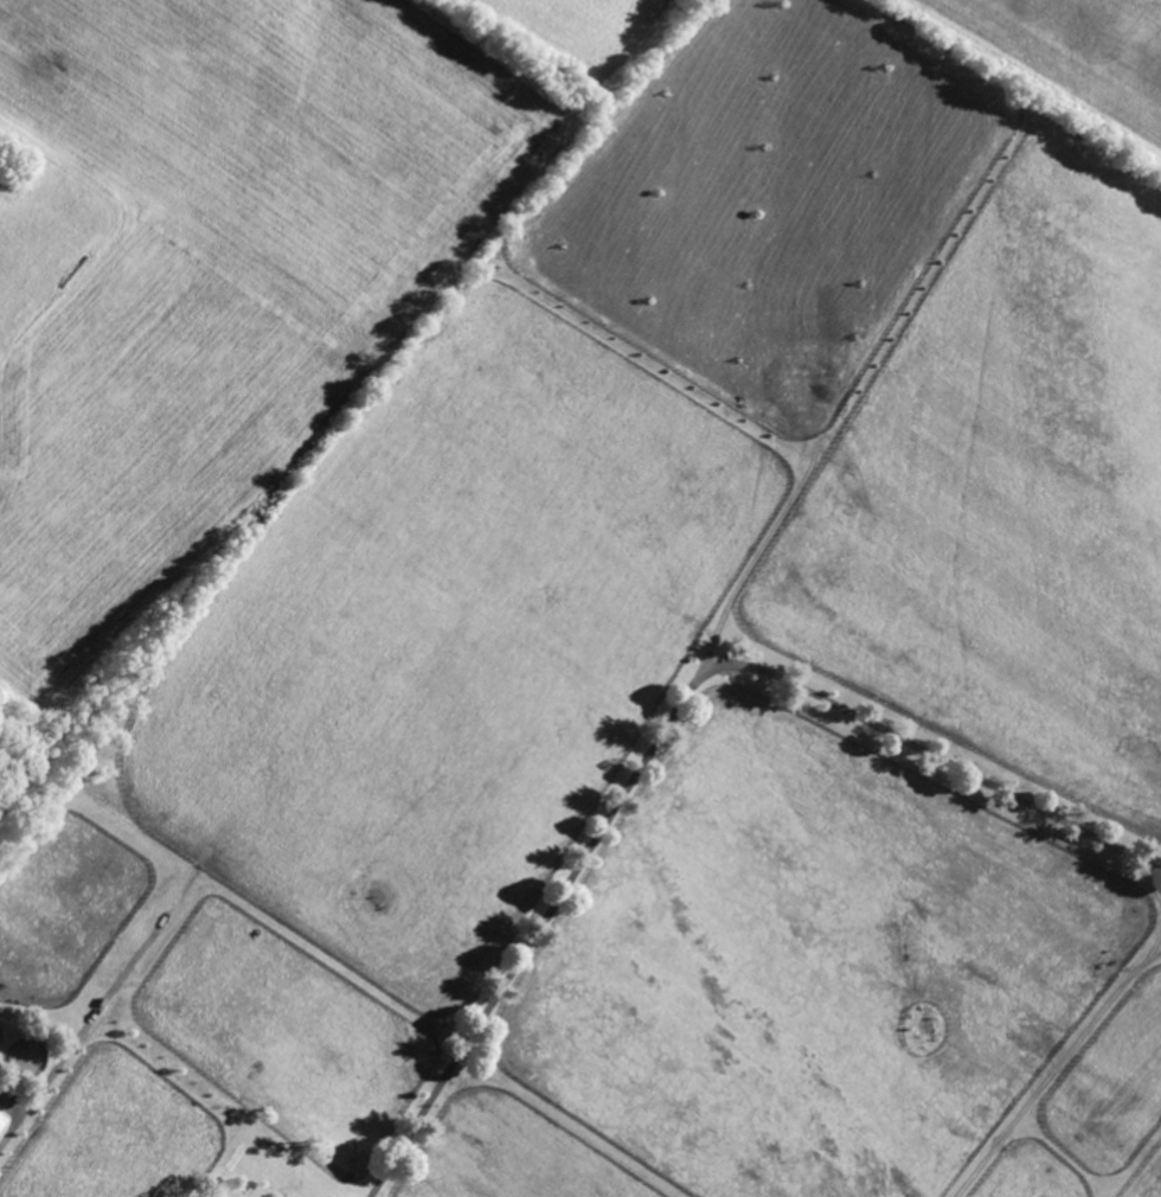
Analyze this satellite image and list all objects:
road: (669, 718)
road: (1056, 1071)
building: (1, 1118)

